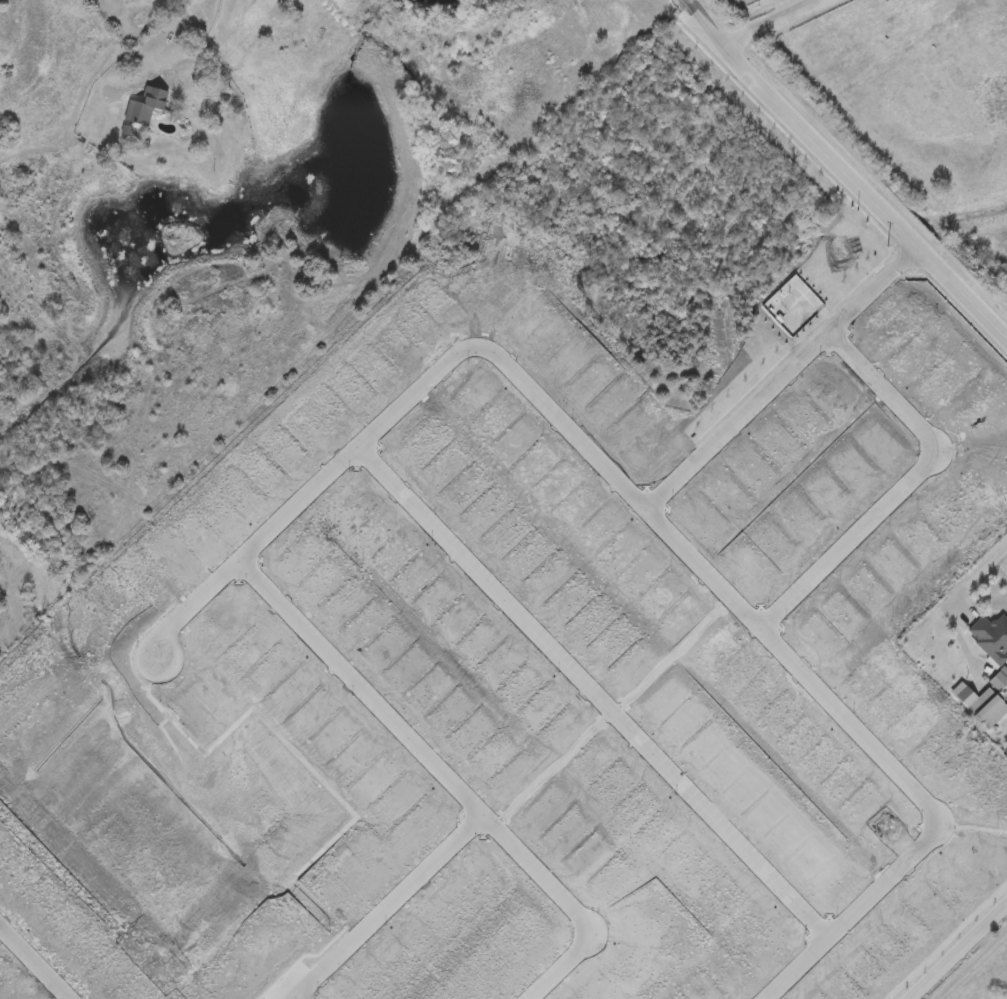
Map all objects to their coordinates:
road: (764, 21)
road: (197, 51)
building: (145, 108)
road: (845, 162)
road: (788, 375)
road: (911, 486)
road: (316, 489)
road: (971, 579)
road: (719, 581)
building: (991, 639)
road: (596, 694)
building: (983, 707)
road: (450, 776)
road: (391, 907)
road: (860, 914)
road: (959, 952)
road: (39, 958)
road: (968, 963)
road: (303, 995)

